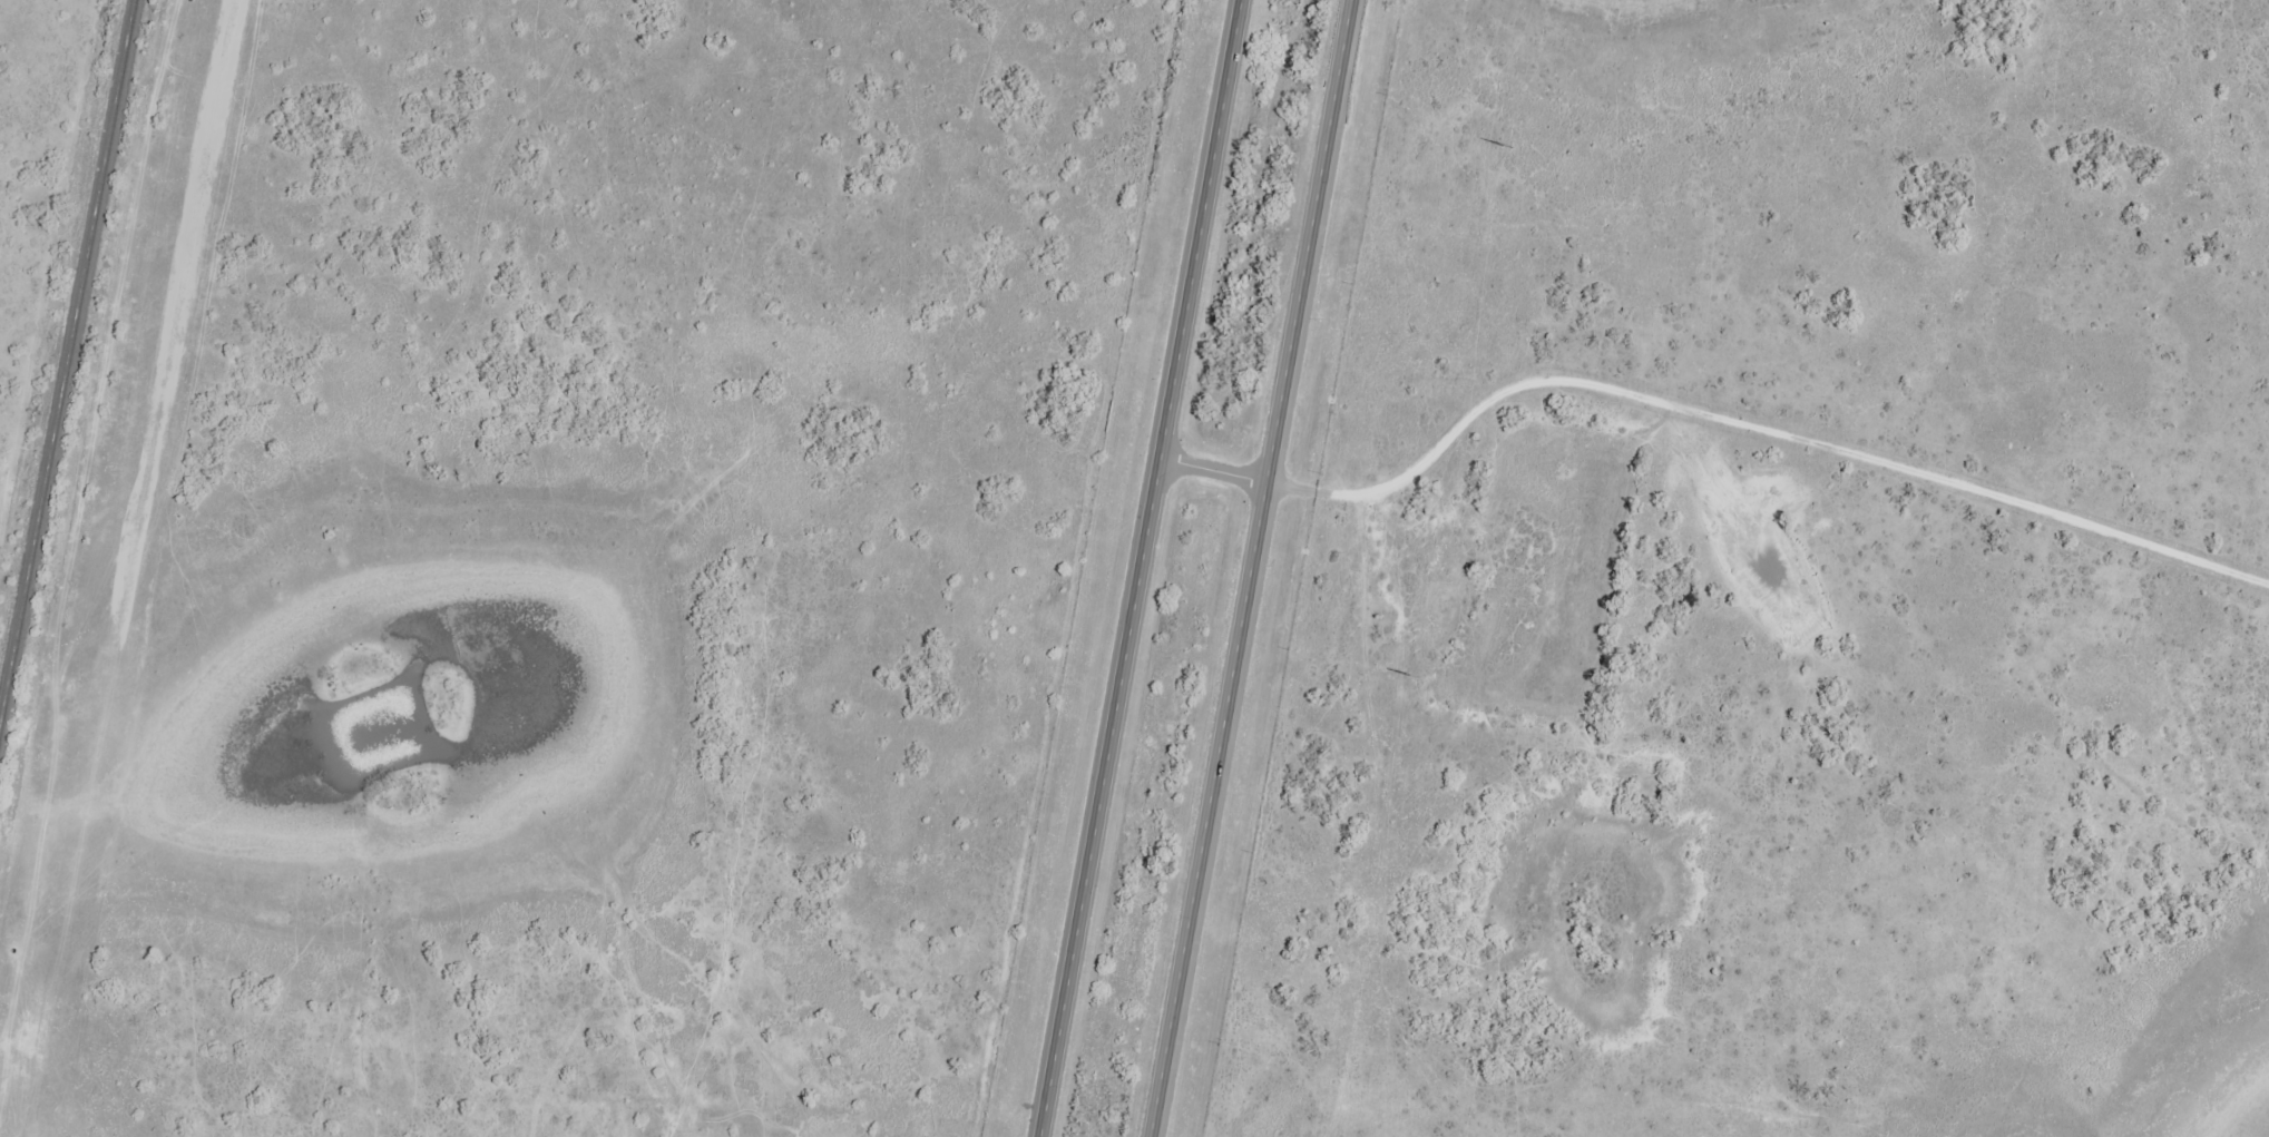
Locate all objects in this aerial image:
power tower: (1506, 146)
railway: (67, 363)
road: (1702, 416)
road: (1146, 568)
road: (1254, 568)
power tower: (1412, 675)

